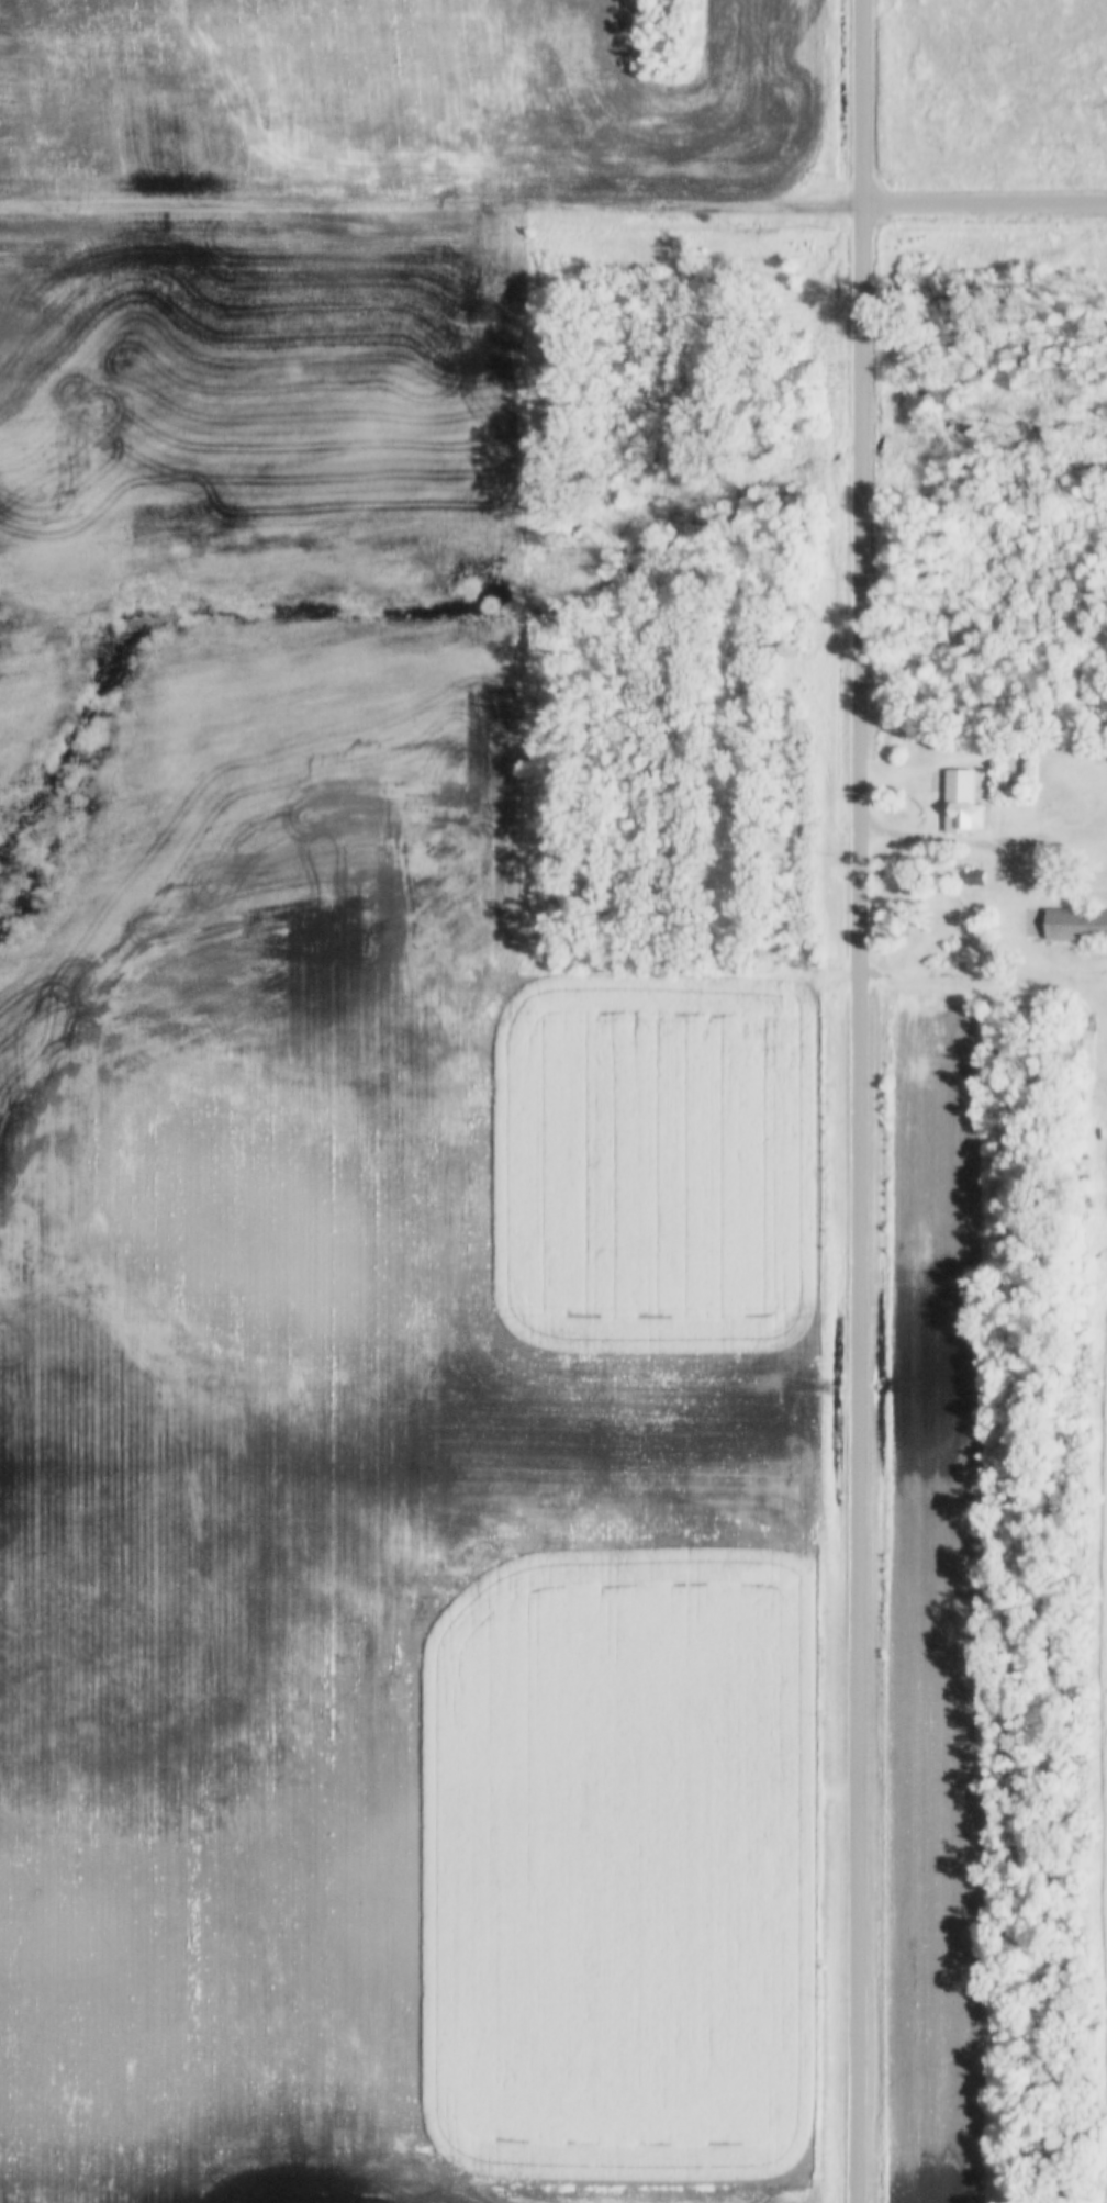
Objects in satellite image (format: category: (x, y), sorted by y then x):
crop: (573, 24)
crop: (752, 56)
crop: (655, 80)
crop: (350, 110)
crop: (820, 137)
crop: (765, 146)
road: (985, 203)
road: (432, 215)
crop: (244, 356)
building: (965, 804)
road: (1074, 825)
road: (1007, 841)
building: (980, 879)
building: (1078, 926)
road: (859, 1100)
building: (1105, 1103)
crop: (396, 1494)
crop: (932, 1612)
crop: (1104, 2000)

